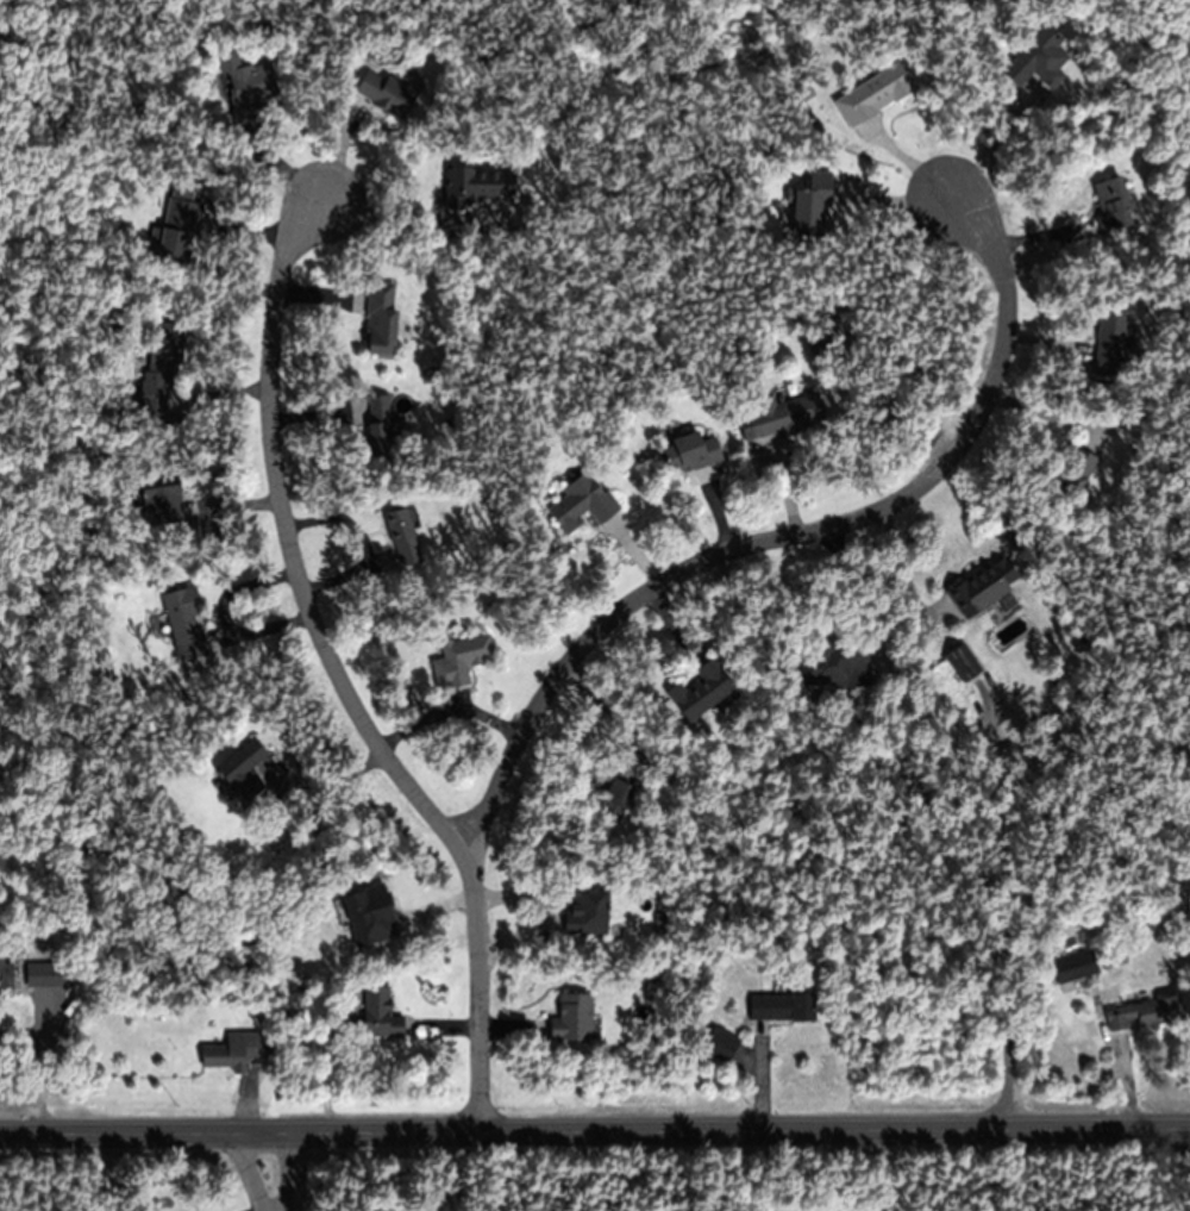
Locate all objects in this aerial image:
building: (1038, 60)
building: (251, 88)
building: (386, 92)
building: (872, 94)
building: (468, 185)
building: (1111, 204)
building: (809, 205)
building: (177, 227)
building: (381, 317)
building: (1108, 344)
building: (164, 345)
building: (784, 416)
building: (380, 425)
building: (685, 452)
building: (1071, 477)
building: (161, 502)
building: (580, 502)
building: (401, 537)
road: (790, 538)
road: (290, 545)
building: (983, 587)
building: (184, 623)
building: (459, 661)
building: (962, 663)
building: (834, 664)
building: (708, 688)
building: (244, 773)
building: (615, 795)
building: (587, 910)
building: (358, 920)
building: (1073, 967)
building: (5, 975)
building: (39, 975)
road: (474, 995)
building: (781, 1009)
building: (377, 1013)
building: (1144, 1016)
building: (571, 1019)
building: (720, 1044)
building: (234, 1051)
road: (834, 1131)
road: (239, 1136)
road: (256, 1173)

